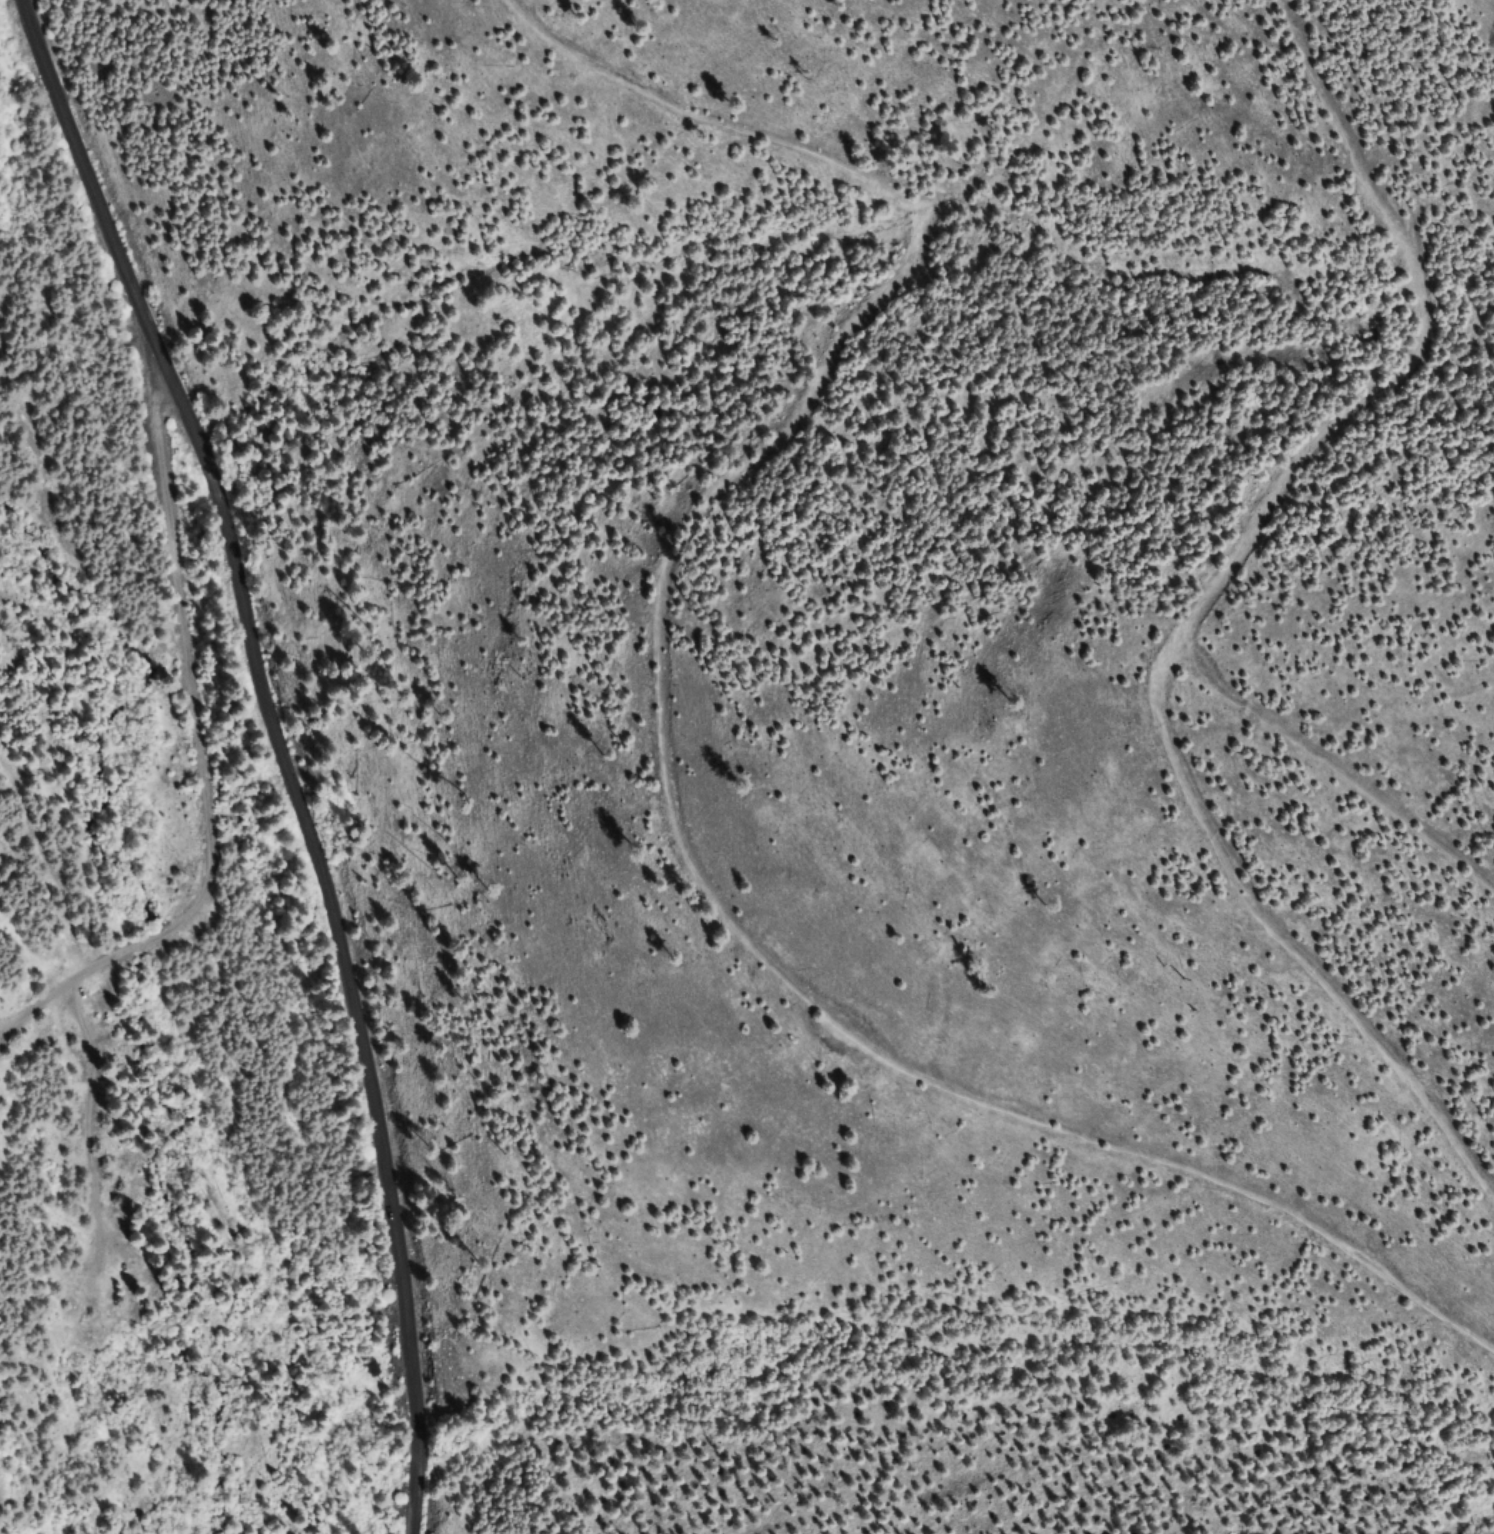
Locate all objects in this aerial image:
road: (1440, 62)
road: (1105, 363)
road: (279, 749)
road: (1396, 910)
road: (177, 974)

